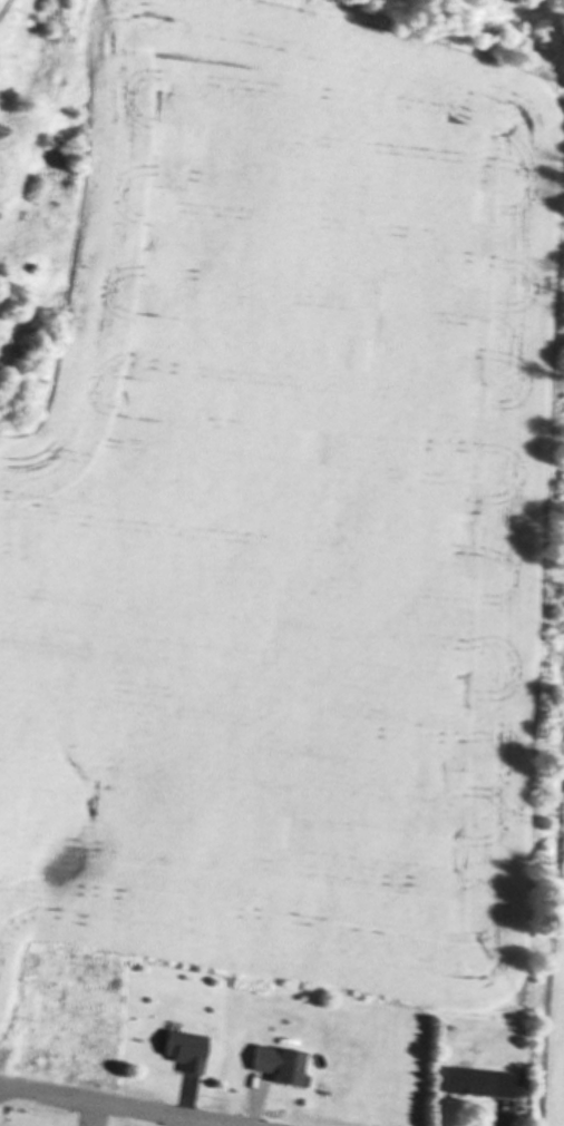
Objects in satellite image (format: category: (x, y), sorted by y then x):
building: (191, 1052)
building: (284, 1065)
building: (484, 1084)
road: (109, 1106)

